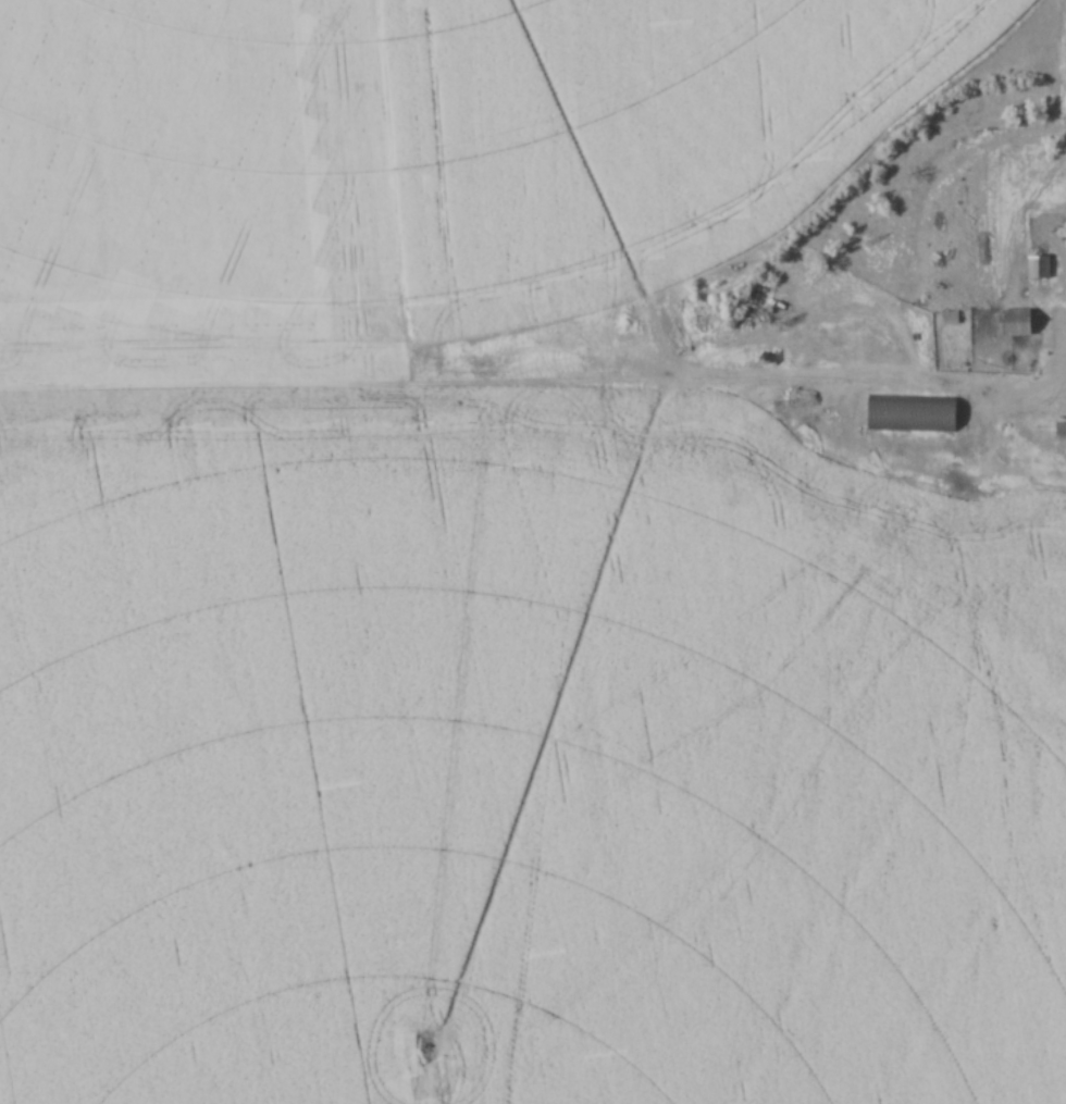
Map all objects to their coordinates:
building: (1034, 268)
building: (945, 320)
building: (1008, 324)
building: (906, 414)
building: (1059, 430)

